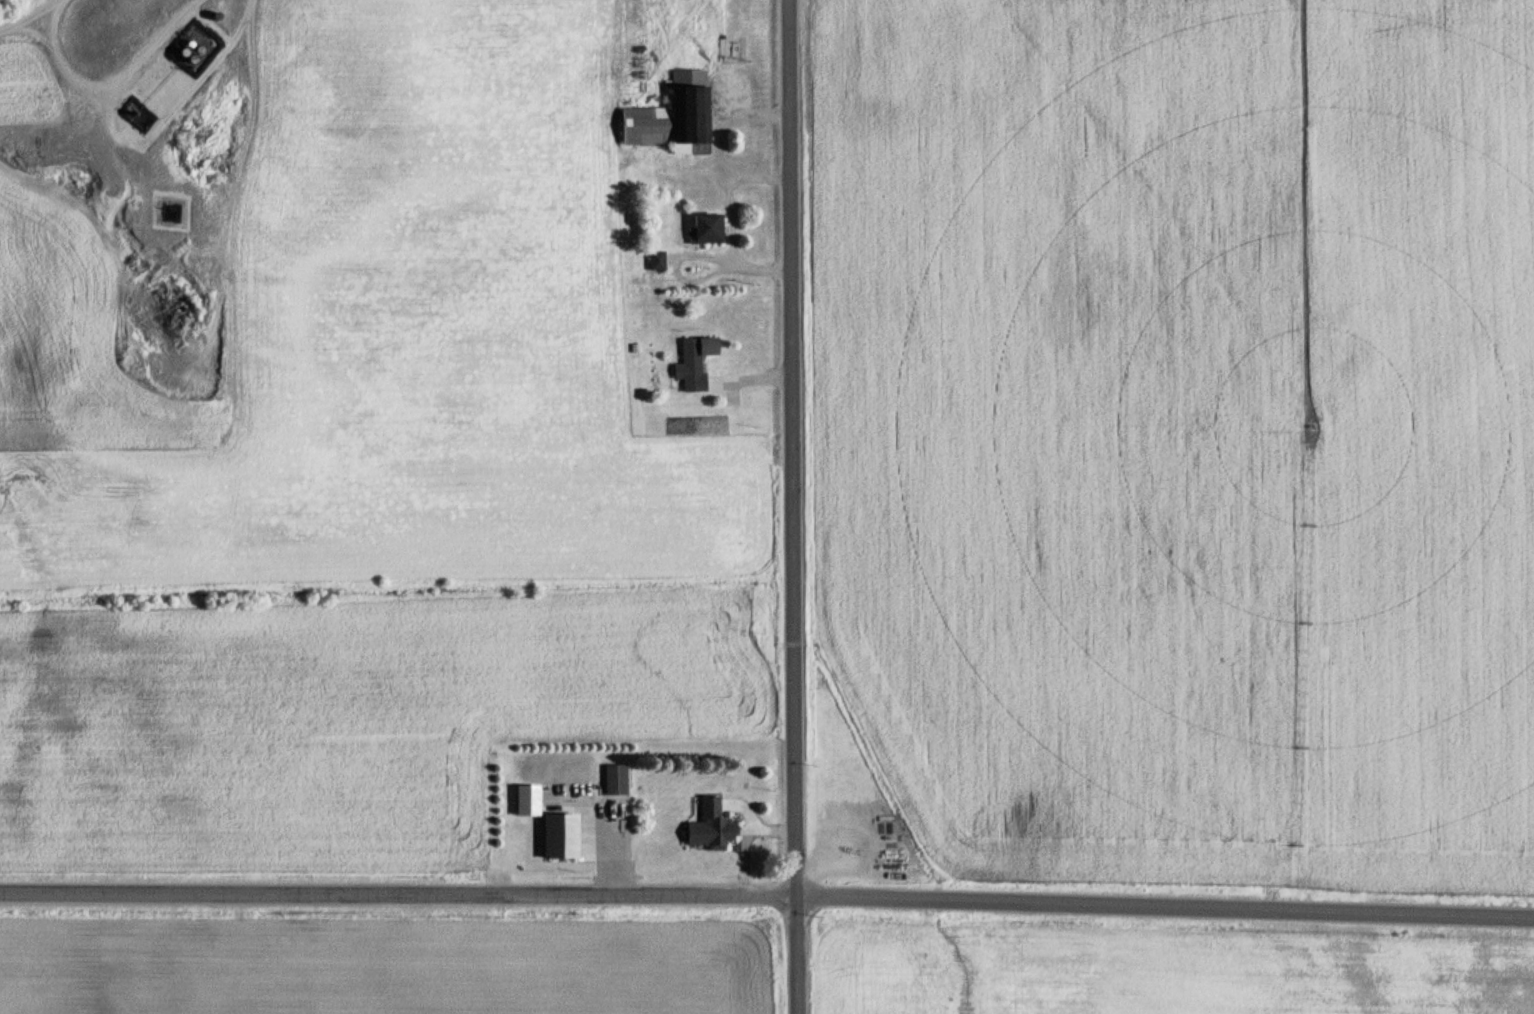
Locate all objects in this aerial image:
petroleum well: (132, 111)
building: (674, 116)
building: (706, 227)
building: (657, 259)
building: (694, 361)
road: (792, 507)
building: (615, 778)
building: (710, 825)
building: (560, 832)
road: (398, 892)
road: (1165, 905)

